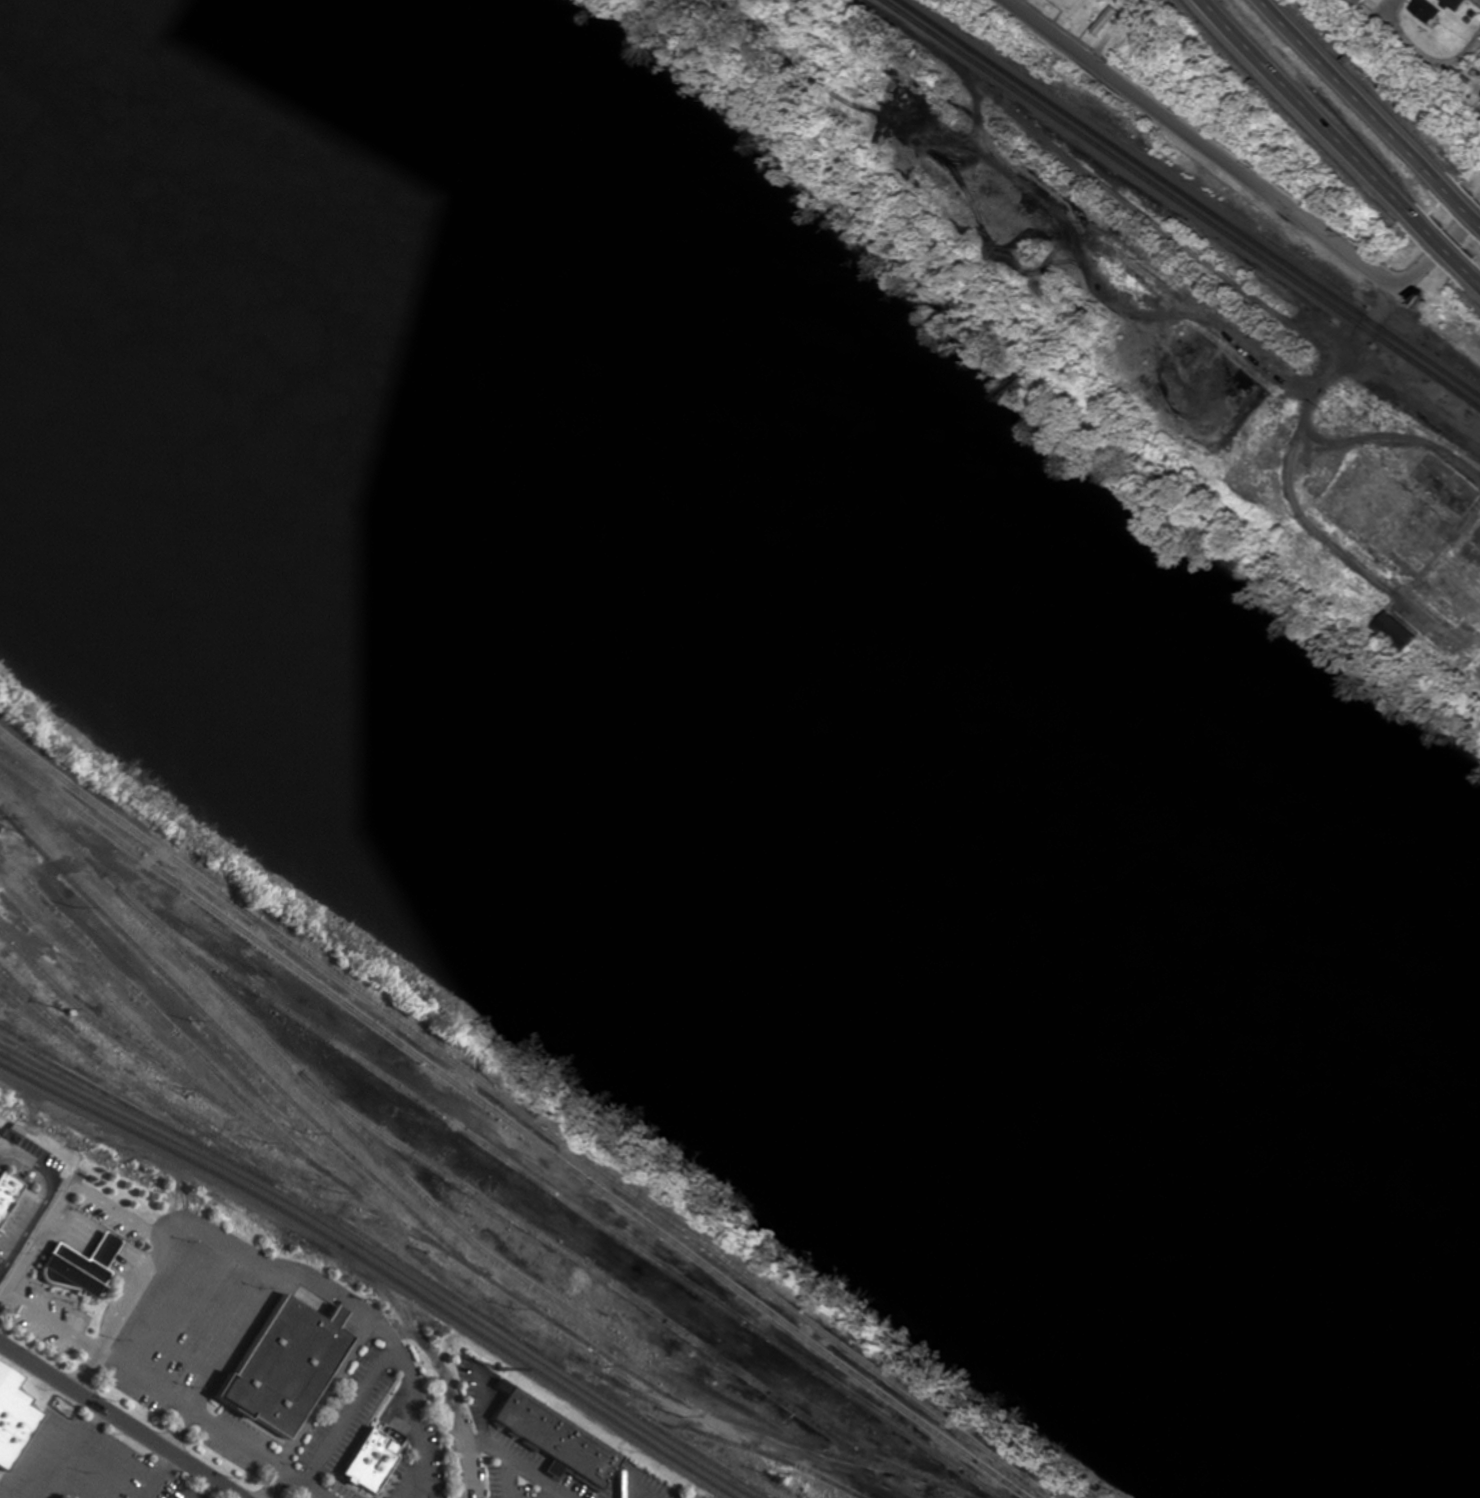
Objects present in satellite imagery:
road: (1393, 2)
building: (1453, 4)
building: (1422, 12)
building: (1101, 20)
road: (1435, 44)
road: (1358, 95)
building: (1478, 95)
road: (1304, 112)
road: (1198, 148)
railway: (1200, 193)
railway: (1187, 202)
road: (1463, 208)
road: (1439, 244)
road: (1439, 255)
road: (1471, 276)
river: (725, 712)
railway: (12, 998)
railway: (47, 1016)
railway: (162, 1020)
railway: (103, 1029)
railway: (240, 1050)
railway: (164, 1106)
railway: (227, 1108)
railway: (523, 1116)
railway: (513, 1128)
road: (37, 1175)
railway: (284, 1176)
building: (7, 1192)
road: (63, 1194)
railway: (555, 1194)
road: (47, 1197)
railway: (435, 1211)
road: (71, 1232)
road: (101, 1250)
railway: (394, 1257)
railway: (385, 1262)
building: (78, 1266)
railway: (377, 1267)
road: (124, 1268)
road: (212, 1276)
railway: (598, 1276)
road: (353, 1309)
road: (189, 1311)
road: (117, 1316)
road: (50, 1322)
road: (166, 1344)
road: (225, 1358)
building: (282, 1361)
railway: (623, 1369)
road: (409, 1402)
road: (479, 1409)
road: (189, 1411)
road: (347, 1414)
building: (11, 1418)
road: (121, 1419)
railway: (750, 1426)
building: (550, 1432)
railway: (718, 1437)
road: (493, 1449)
road: (24, 1450)
road: (72, 1452)
building: (366, 1458)
road: (107, 1472)
road: (155, 1474)
road: (506, 1478)
road: (404, 1483)
road: (302, 1484)
road: (630, 1494)
road: (191, 1497)
road: (564, 1497)

